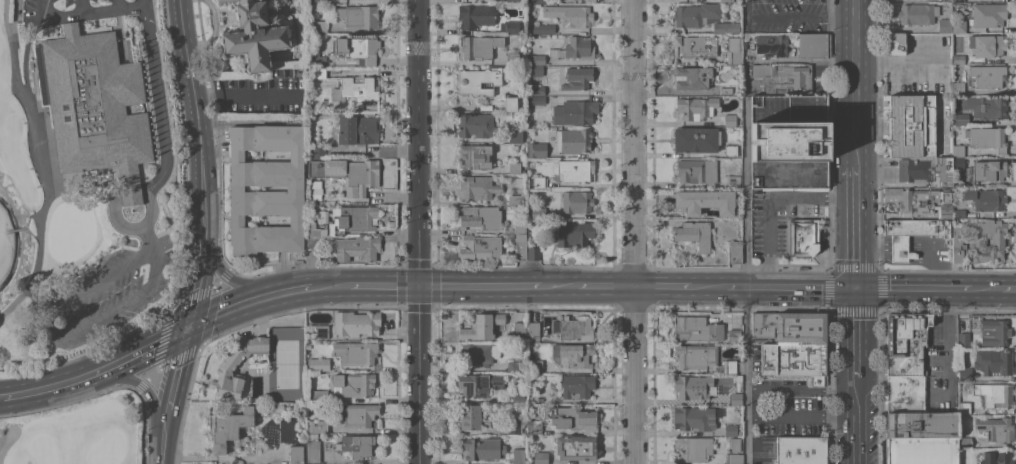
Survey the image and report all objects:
building: (726, 0)
building: (978, 0)
building: (988, 0)
building: (313, 1)
building: (513, 1)
building: (535, 1)
building: (580, 1)
building: (958, 1)
road: (117, 4)
road: (80, 6)
road: (748, 7)
road: (111, 8)
road: (855, 8)
road: (42, 9)
parking lot: (70, 10)
building: (918, 13)
building: (695, 14)
building: (570, 15)
road: (801, 15)
building: (988, 15)
road: (61, 16)
building: (358, 16)
building: (475, 16)
building: (311, 22)
building: (944, 26)
building: (959, 26)
building: (320, 27)
building: (512, 27)
building: (726, 27)
building: (543, 28)
building: (253, 36)
building: (896, 44)
building: (771, 45)
building: (813, 45)
building: (988, 45)
building: (479, 46)
building: (693, 46)
building: (575, 48)
building: (358, 49)
building: (733, 50)
building: (512, 56)
building: (317, 57)
building: (958, 58)
building: (536, 59)
building: (311, 61)
building: (534, 70)
building: (318, 72)
building: (988, 76)
building: (692, 77)
building: (577, 78)
building: (784, 78)
building: (480, 80)
building: (355, 88)
building: (728, 88)
road: (854, 88)
building: (958, 88)
building: (536, 90)
road: (244, 97)
road: (156, 99)
road: (194, 100)
building: (536, 100)
building: (510, 104)
building: (985, 106)
building: (96, 107)
building: (696, 107)
building: (132, 108)
building: (574, 111)
building: (729, 119)
building: (961, 119)
building: (475, 125)
building: (911, 125)
building: (357, 130)
building: (509, 136)
building: (987, 138)
building: (695, 139)
building: (573, 140)
building: (789, 141)
building: (536, 149)
building: (730, 150)
building: (958, 150)
building: (317, 151)
building: (475, 156)
building: (959, 161)
road: (39, 163)
building: (514, 167)
building: (576, 170)
building: (697, 170)
building: (926, 170)
building: (990, 170)
building: (347, 173)
park: (83, 174)
building: (538, 181)
building: (733, 181)
building: (476, 187)
building: (294, 188)
road: (368, 198)
building: (517, 199)
building: (695, 199)
building: (985, 199)
road: (769, 200)
building: (576, 201)
building: (920, 201)
building: (538, 212)
building: (732, 212)
building: (959, 213)
parking lot: (784, 215)
building: (480, 217)
building: (322, 218)
building: (355, 218)
road: (854, 223)
road: (120, 224)
building: (520, 226)
building: (319, 228)
road: (417, 231)
road: (632, 231)
building: (574, 233)
building: (912, 233)
building: (694, 234)
building: (803, 237)
building: (978, 239)
building: (312, 242)
building: (480, 247)
building: (357, 248)
building: (520, 249)
building: (734, 252)
building: (533, 253)
road: (199, 265)
road: (238, 284)
road: (376, 285)
traffic signals: (417, 286)
road: (490, 286)
road: (598, 286)
road: (671, 286)
road: (782, 287)
traffic signals: (855, 287)
road: (921, 288)
road: (1002, 289)
parking lot: (102, 293)
road: (257, 298)
building: (355, 323)
building: (481, 326)
building: (790, 327)
building: (576, 328)
building: (696, 328)
traffic signals: (186, 329)
building: (518, 329)
building: (533, 330)
building: (990, 330)
building: (322, 331)
road: (855, 333)
building: (734, 335)
road: (60, 338)
building: (964, 339)
building: (905, 343)
road: (144, 350)
road: (954, 350)
building: (478, 354)
building: (575, 354)
building: (360, 355)
building: (695, 356)
parking lot: (758, 358)
building: (794, 360)
building: (993, 361)
park: (287, 364)
building: (318, 364)
parking lot: (942, 364)
building: (515, 366)
building: (536, 366)
building: (729, 367)
building: (226, 369)
building: (964, 374)
road: (747, 375)
road: (174, 377)
building: (737, 378)
building: (354, 383)
building: (478, 384)
road: (143, 386)
building: (577, 386)
building: (692, 386)
road: (51, 387)
road: (801, 388)
building: (905, 393)
building: (994, 395)
building: (317, 396)
building: (517, 397)
building: (735, 399)
road: (756, 402)
parking lot: (791, 405)
building: (964, 407)
building: (358, 414)
road: (801, 417)
building: (474, 418)
building: (572, 418)
building: (694, 418)
road: (855, 421)
building: (921, 424)
building: (515, 425)
building: (318, 426)
building: (228, 427)
building: (534, 427)
building: (996, 428)
building: (731, 430)
park: (74, 433)
building: (273, 435)
building: (312, 436)
road: (7, 441)
building: (965, 442)
building: (734, 444)
road: (162, 445)
building: (355, 445)
building: (482, 448)
building: (575, 448)
building: (693, 448)
parking lot: (765, 450)
building: (801, 450)
building: (921, 450)
building: (312, 451)
road: (757, 451)
building: (296, 454)
building: (519, 456)
building: (540, 458)
building: (733, 458)
building: (994, 458)
road: (369, 460)

